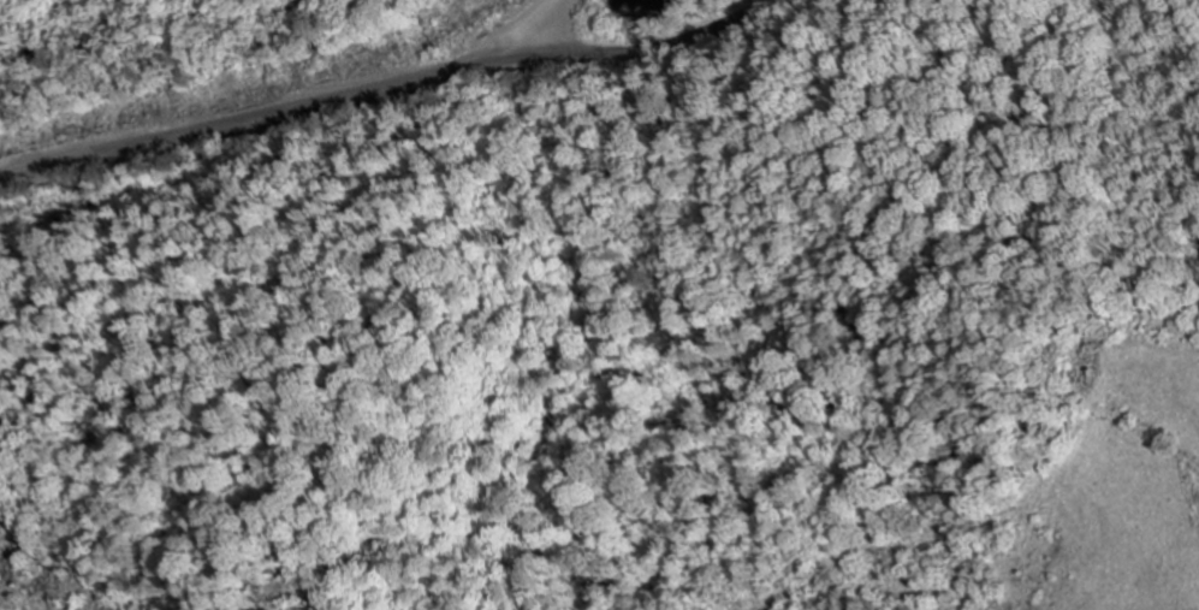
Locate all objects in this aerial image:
road: (523, 25)
road: (375, 87)

